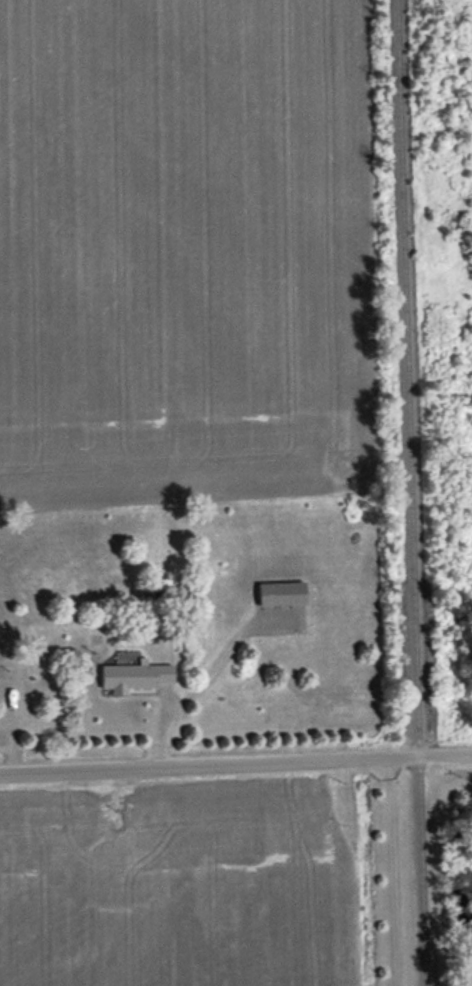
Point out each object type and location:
railway: (411, 493)
building: (154, 590)
building: (135, 676)
building: (9, 684)
road: (235, 762)

